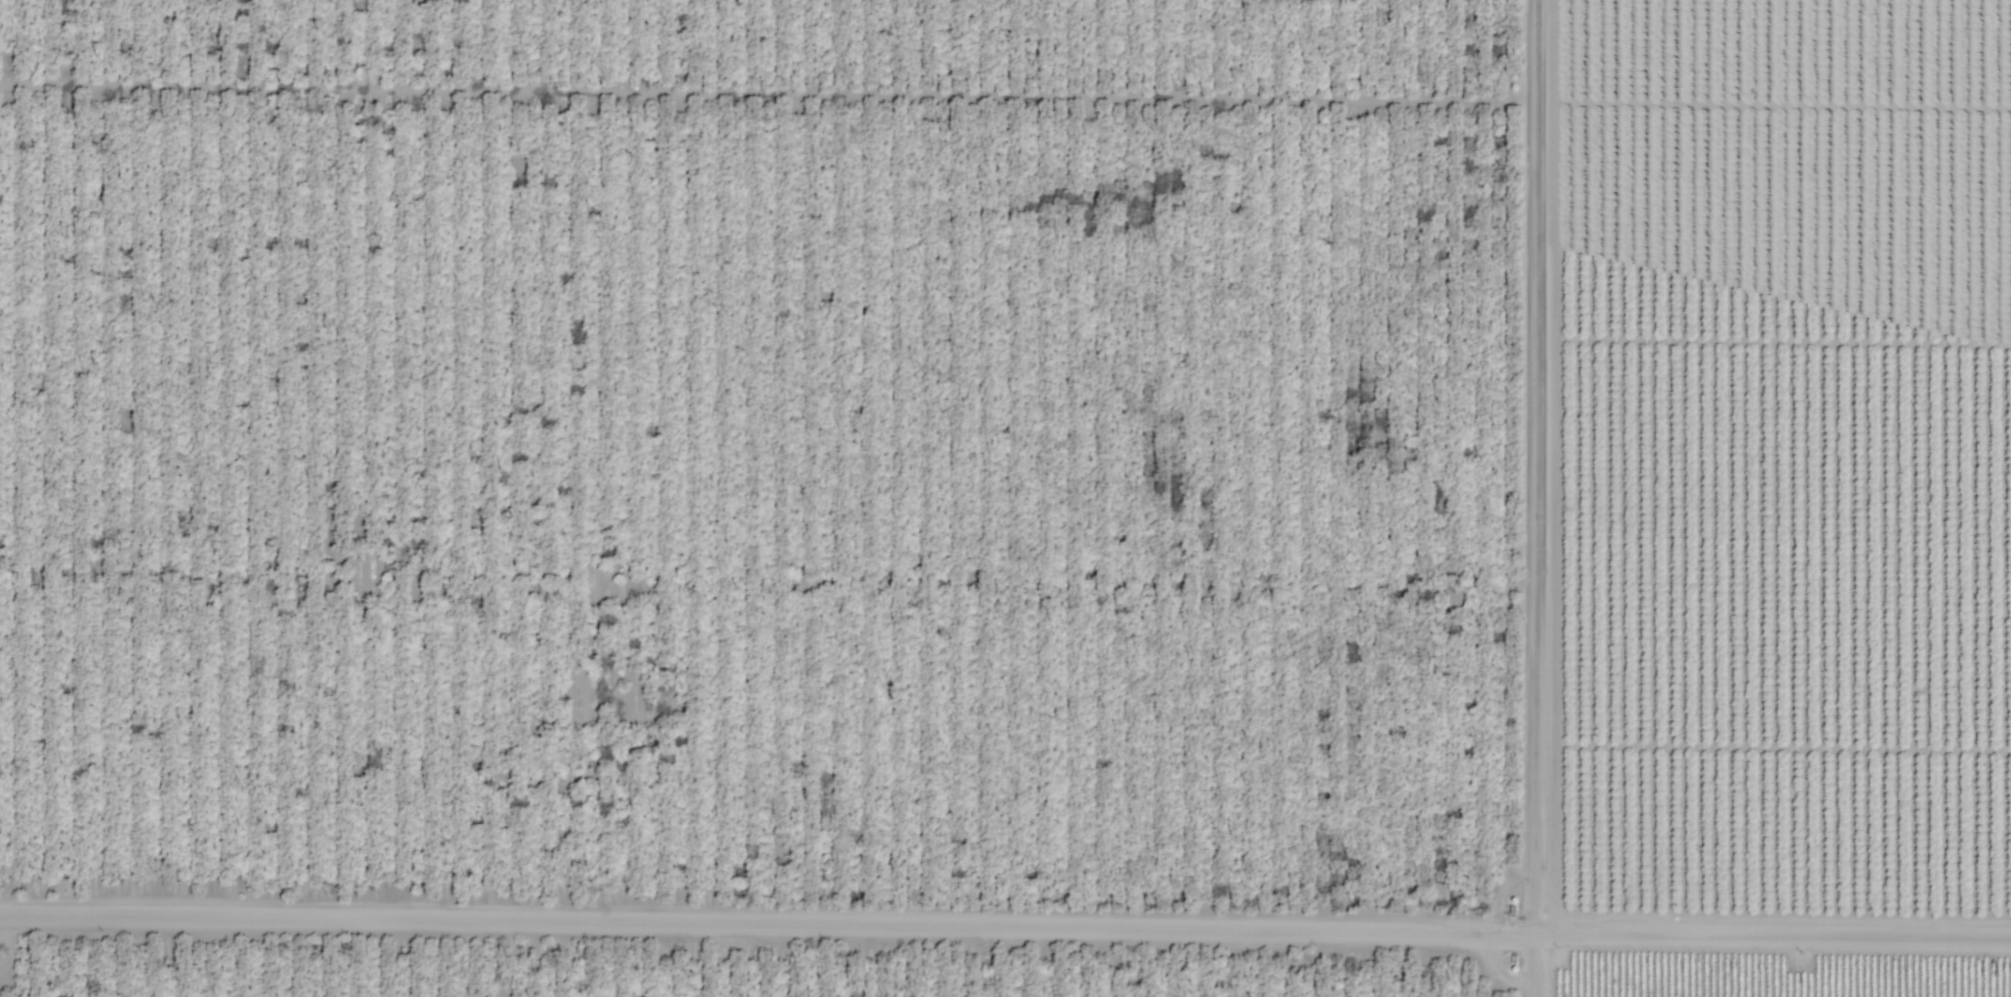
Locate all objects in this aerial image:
road: (1005, 912)

